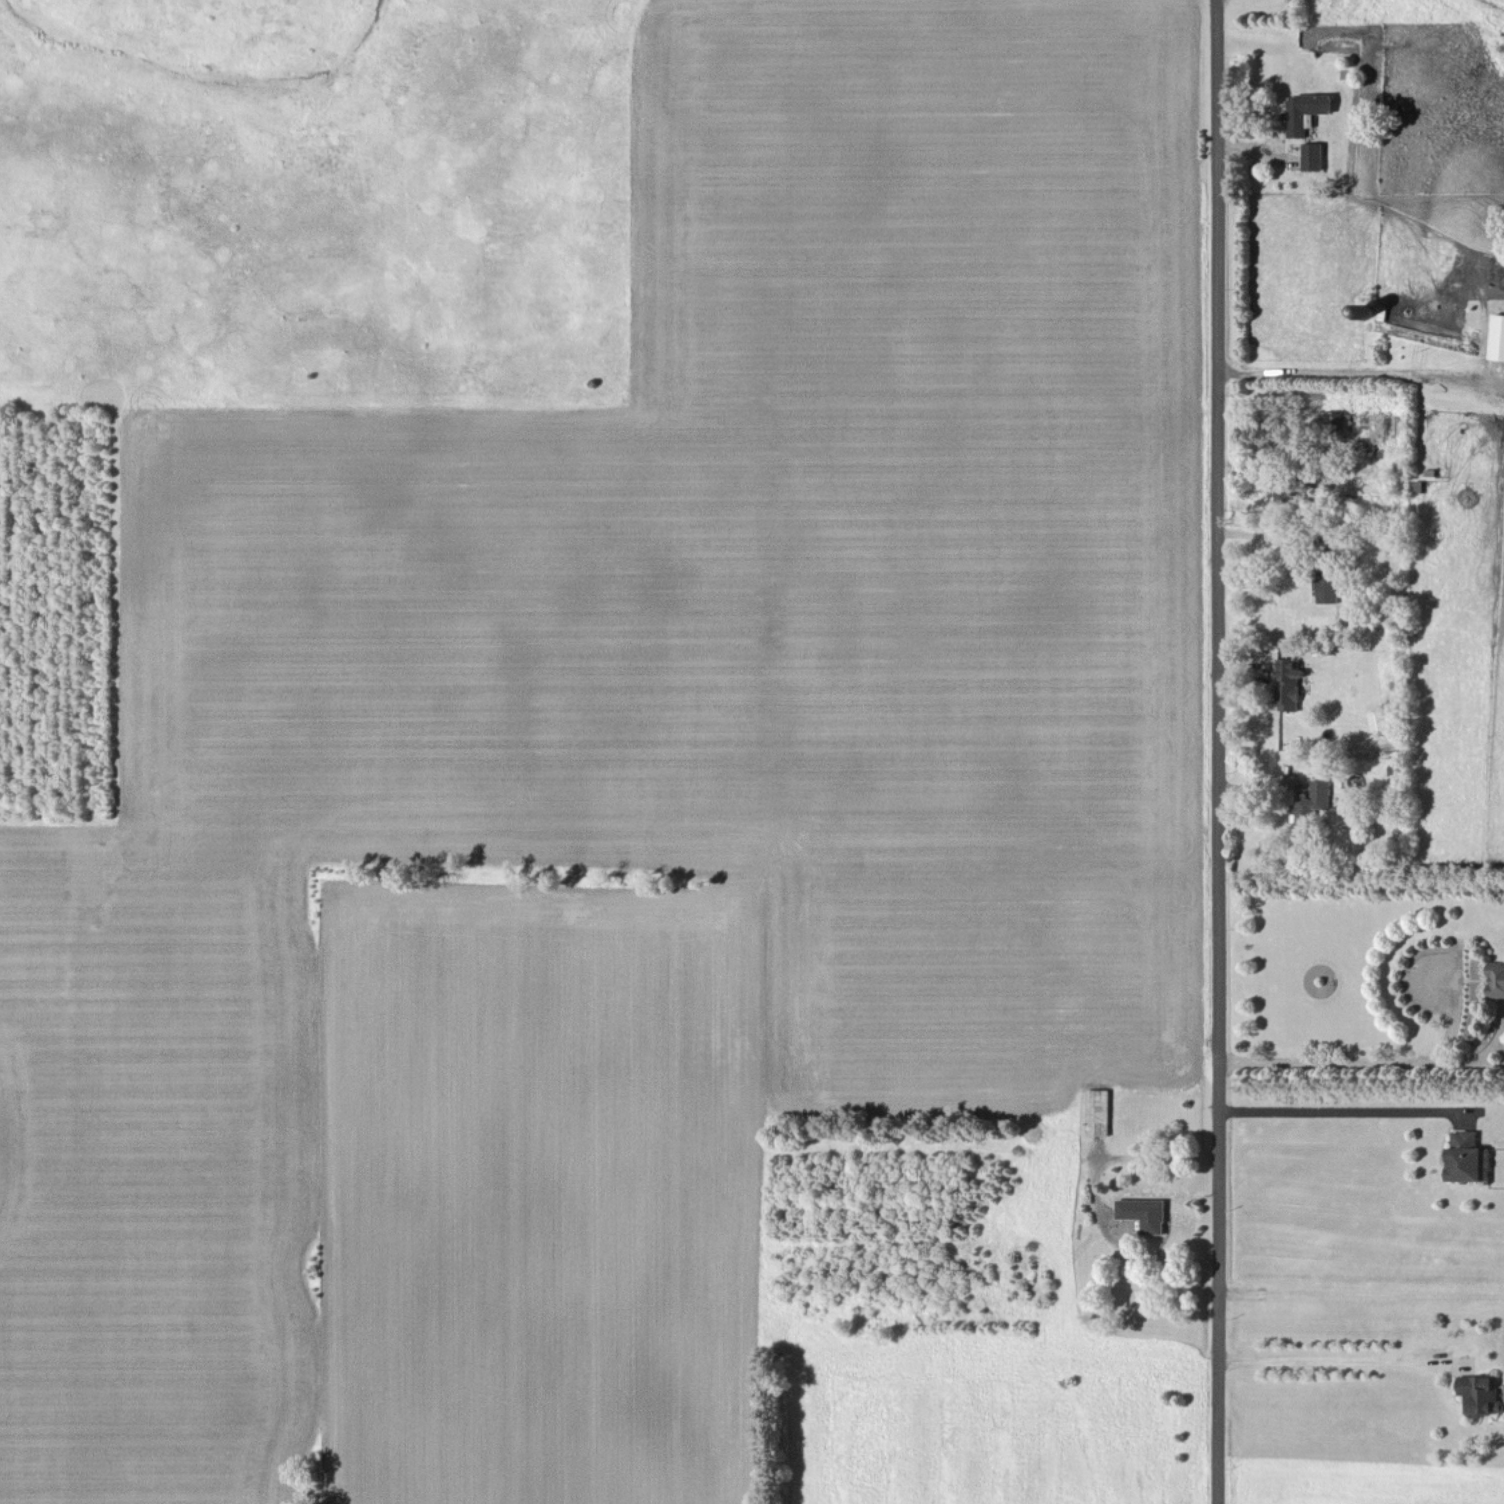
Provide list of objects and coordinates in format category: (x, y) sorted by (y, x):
building: (1304, 111)
building: (1312, 155)
building: (1497, 337)
road: (1351, 373)
building: (1328, 590)
building: (1290, 682)
building: (1378, 718)
road: (1216, 751)
building: (1312, 800)
building: (1496, 978)
road: (1364, 1061)
road: (1331, 1110)
building: (1098, 1111)
building: (1468, 1157)
road: (1097, 1199)
building: (1144, 1213)
road: (1360, 1293)
road: (1316, 1359)
building: (1482, 1392)

